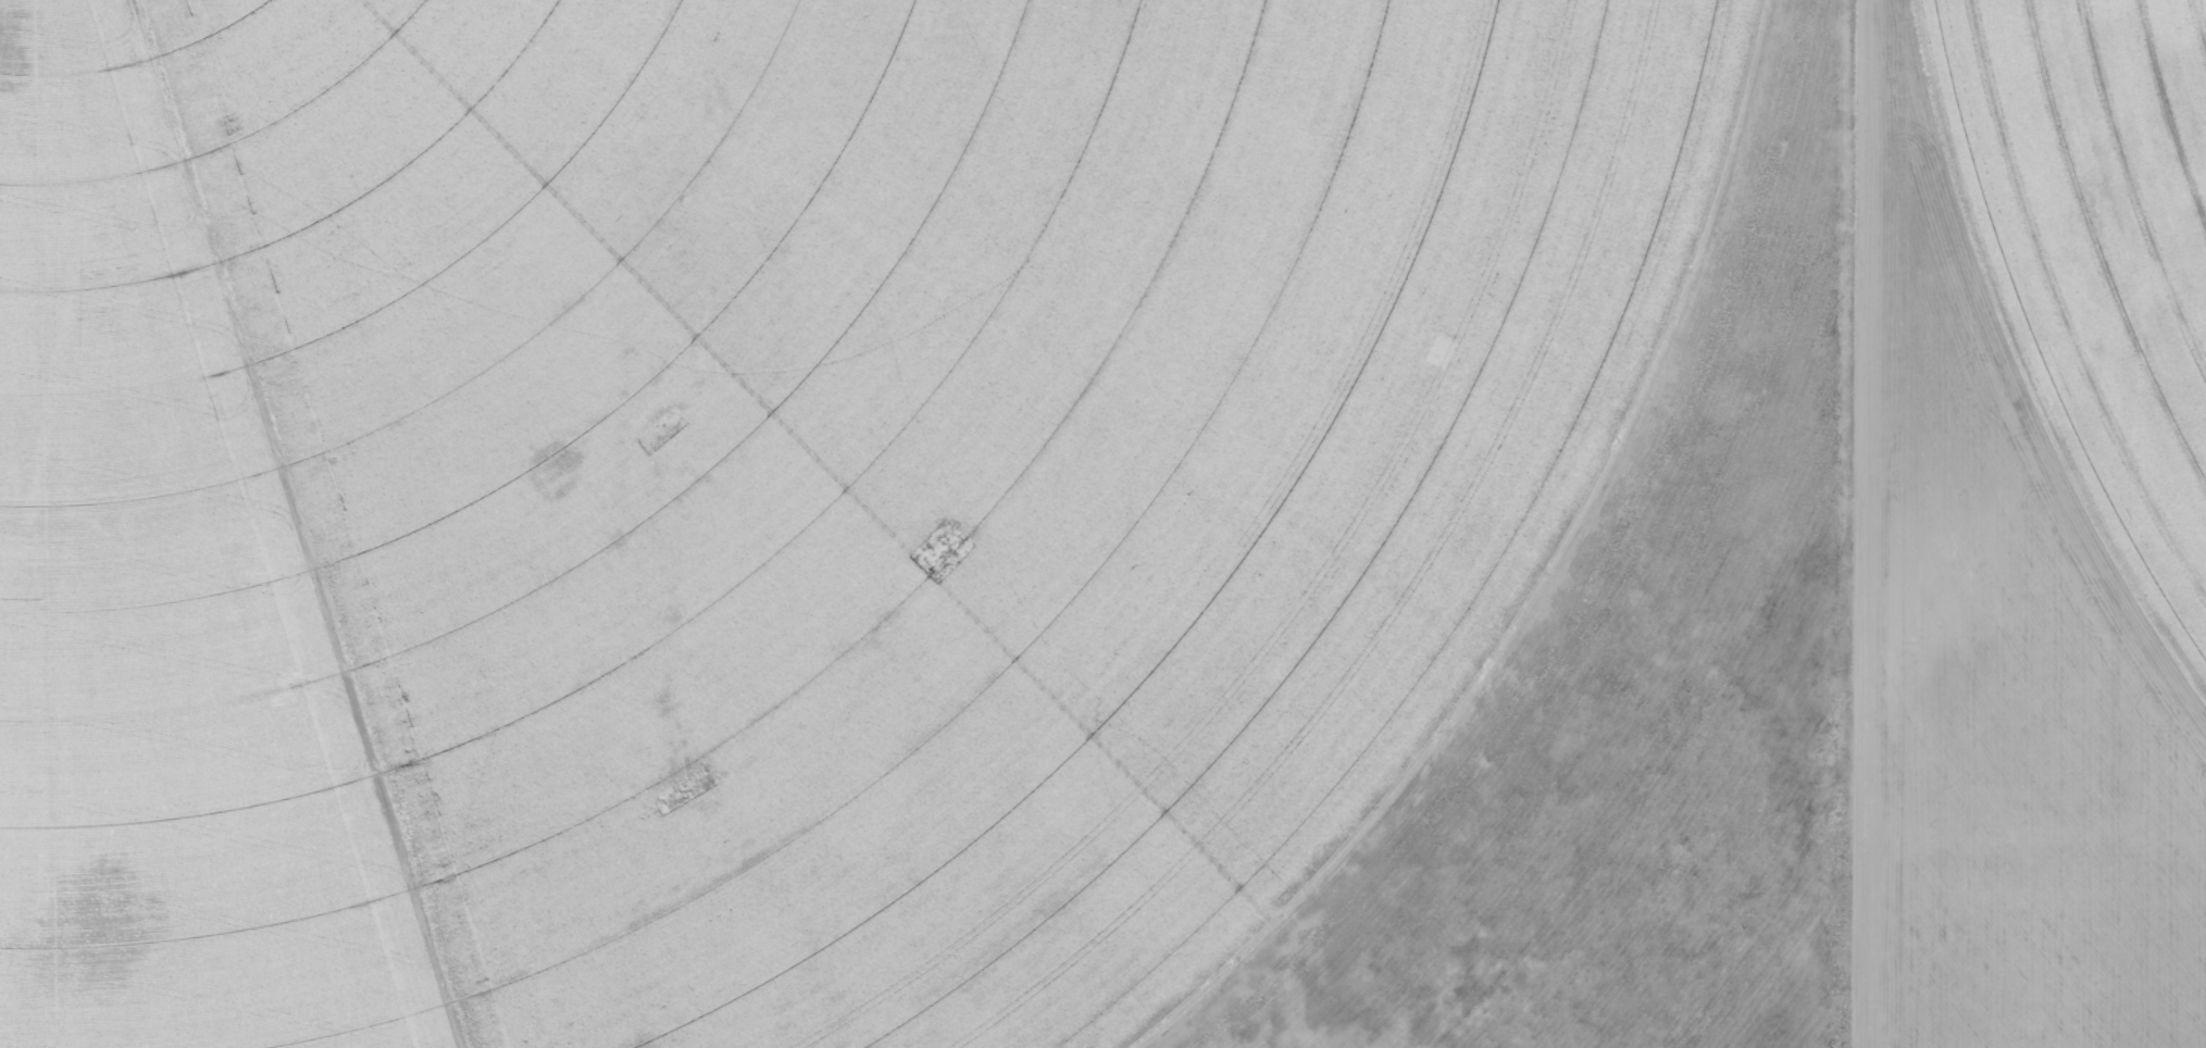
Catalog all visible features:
road: (1872, 524)

